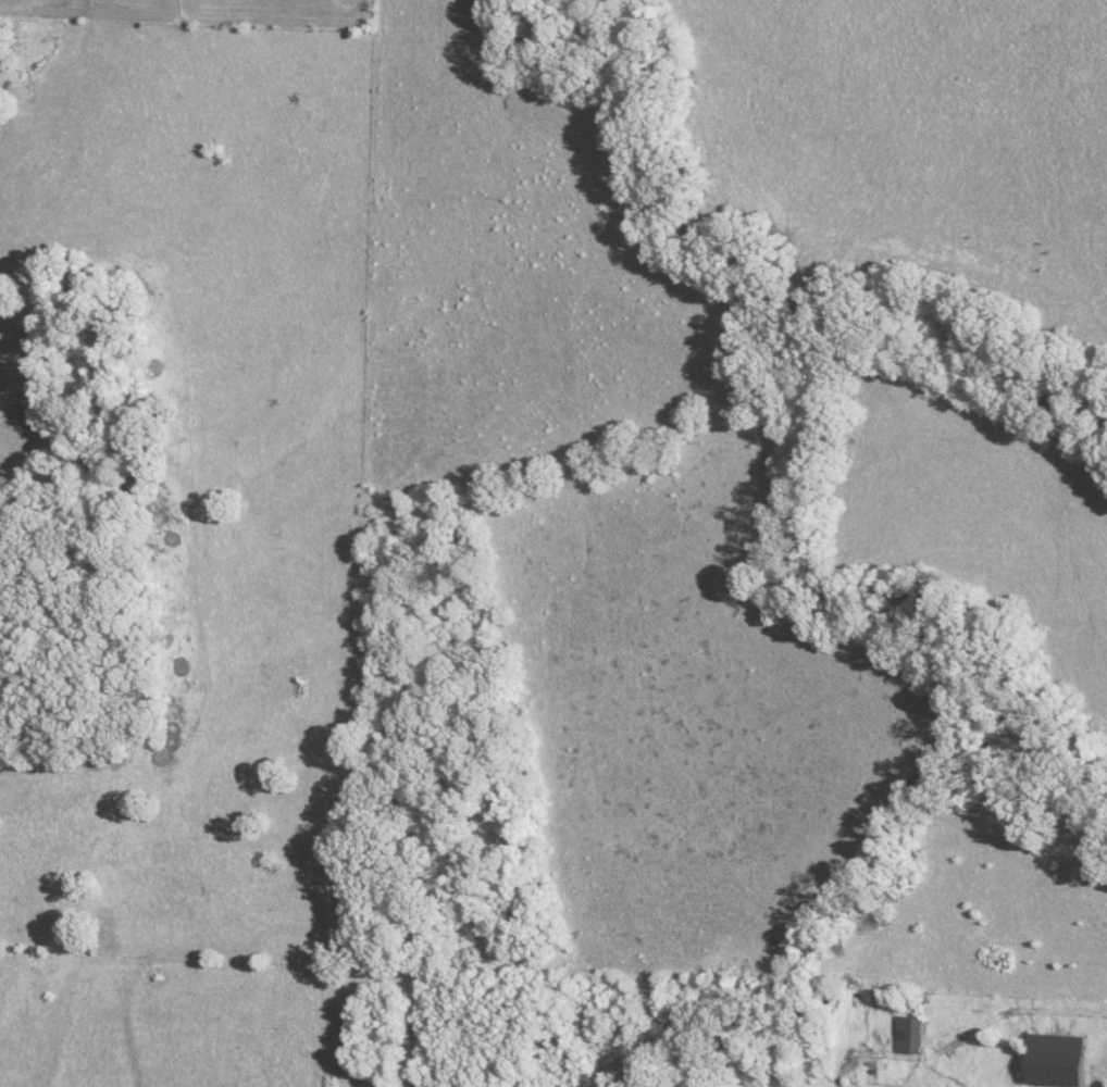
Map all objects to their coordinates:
building: (916, 1033)
building: (1064, 1058)

